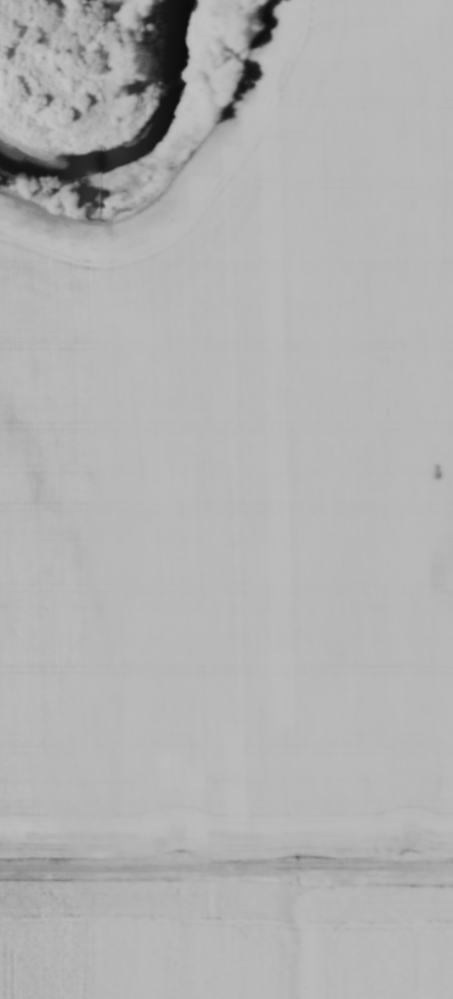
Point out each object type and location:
river: (136, 131)
road: (226, 868)

